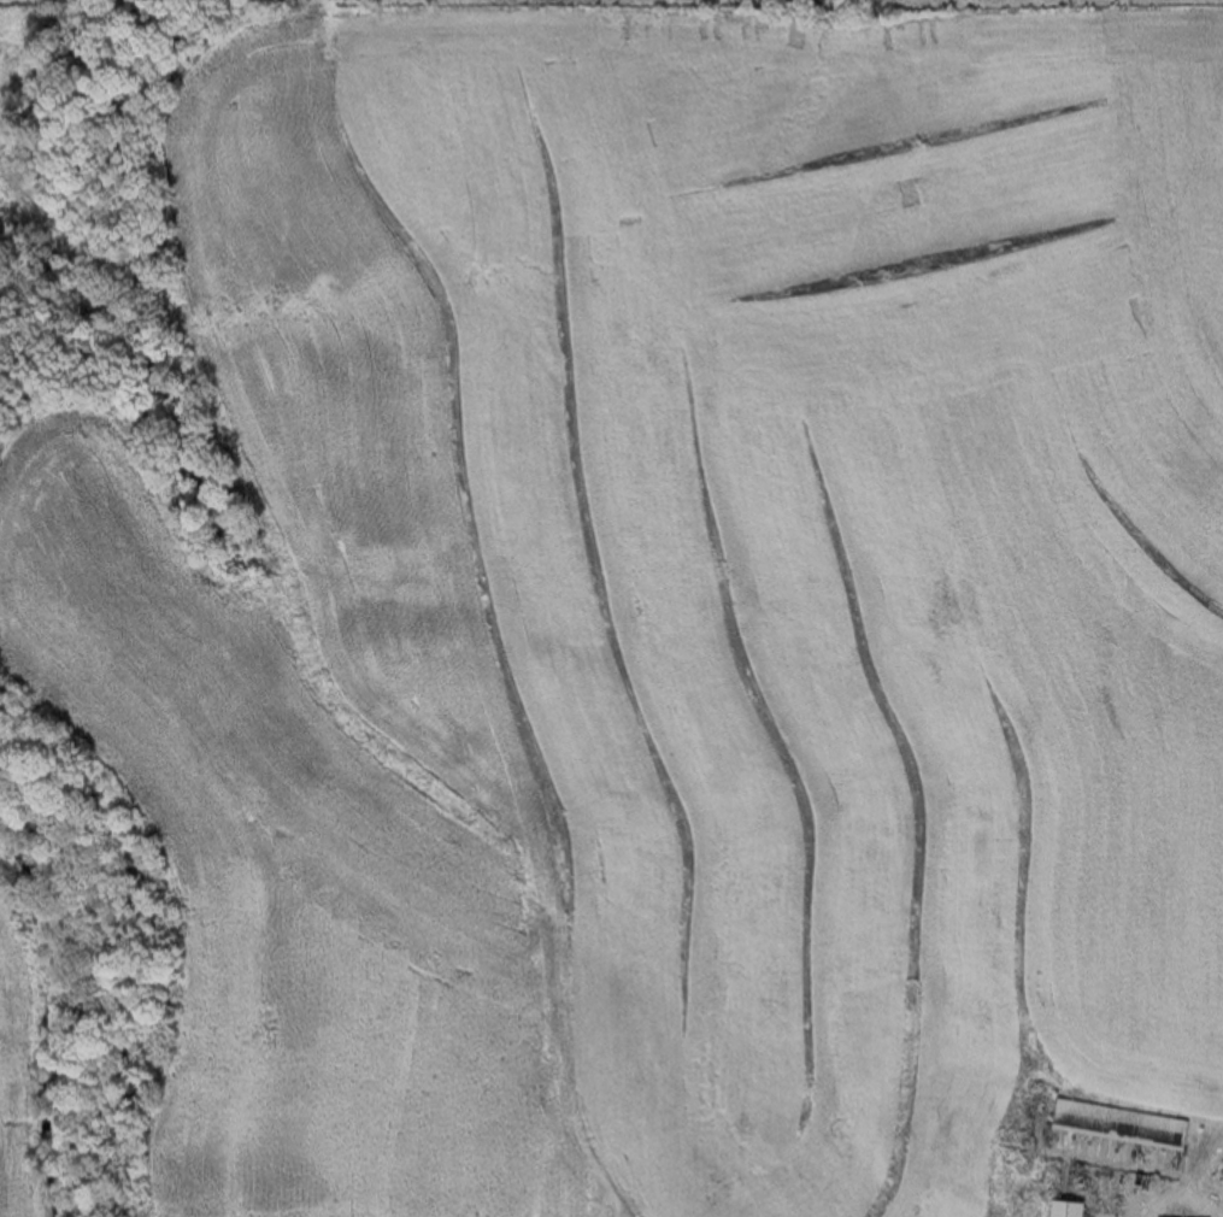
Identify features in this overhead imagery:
building: (1117, 1124)
building: (1060, 1210)
building: (1105, 1215)

